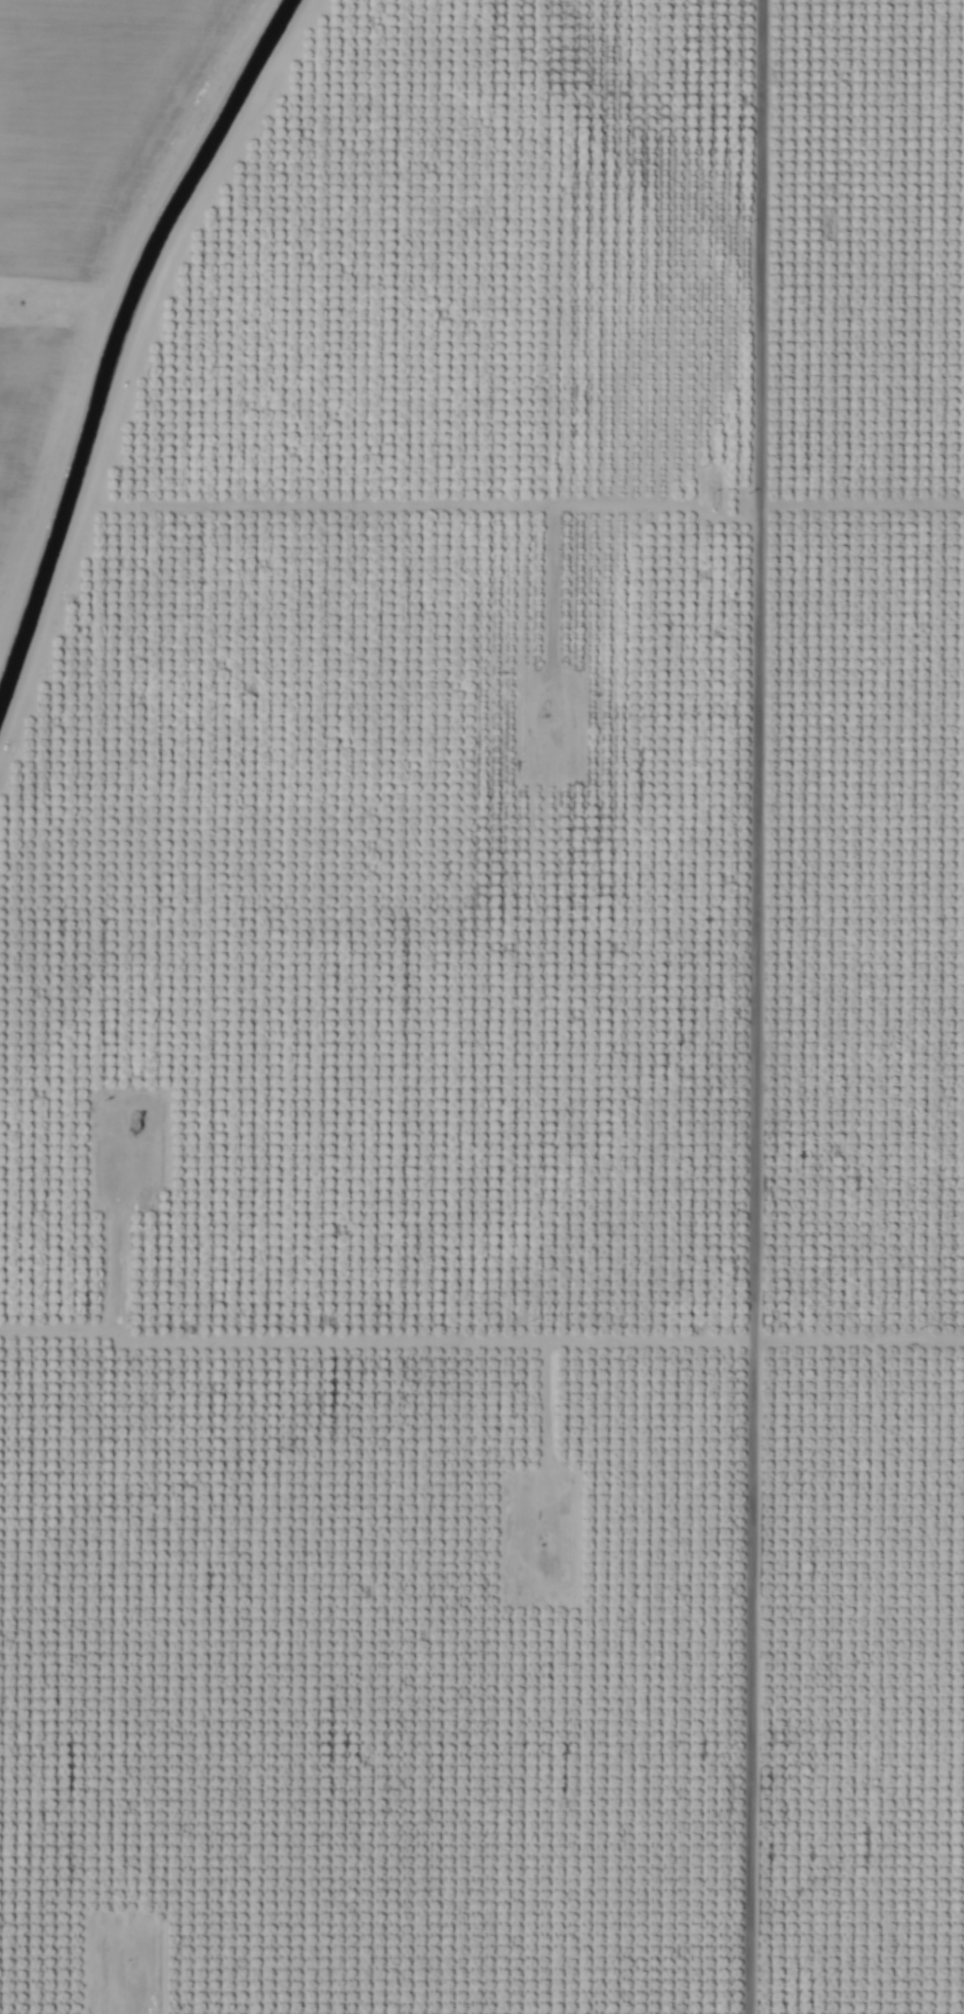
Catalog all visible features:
road: (380, 1337)
road: (862, 1340)

